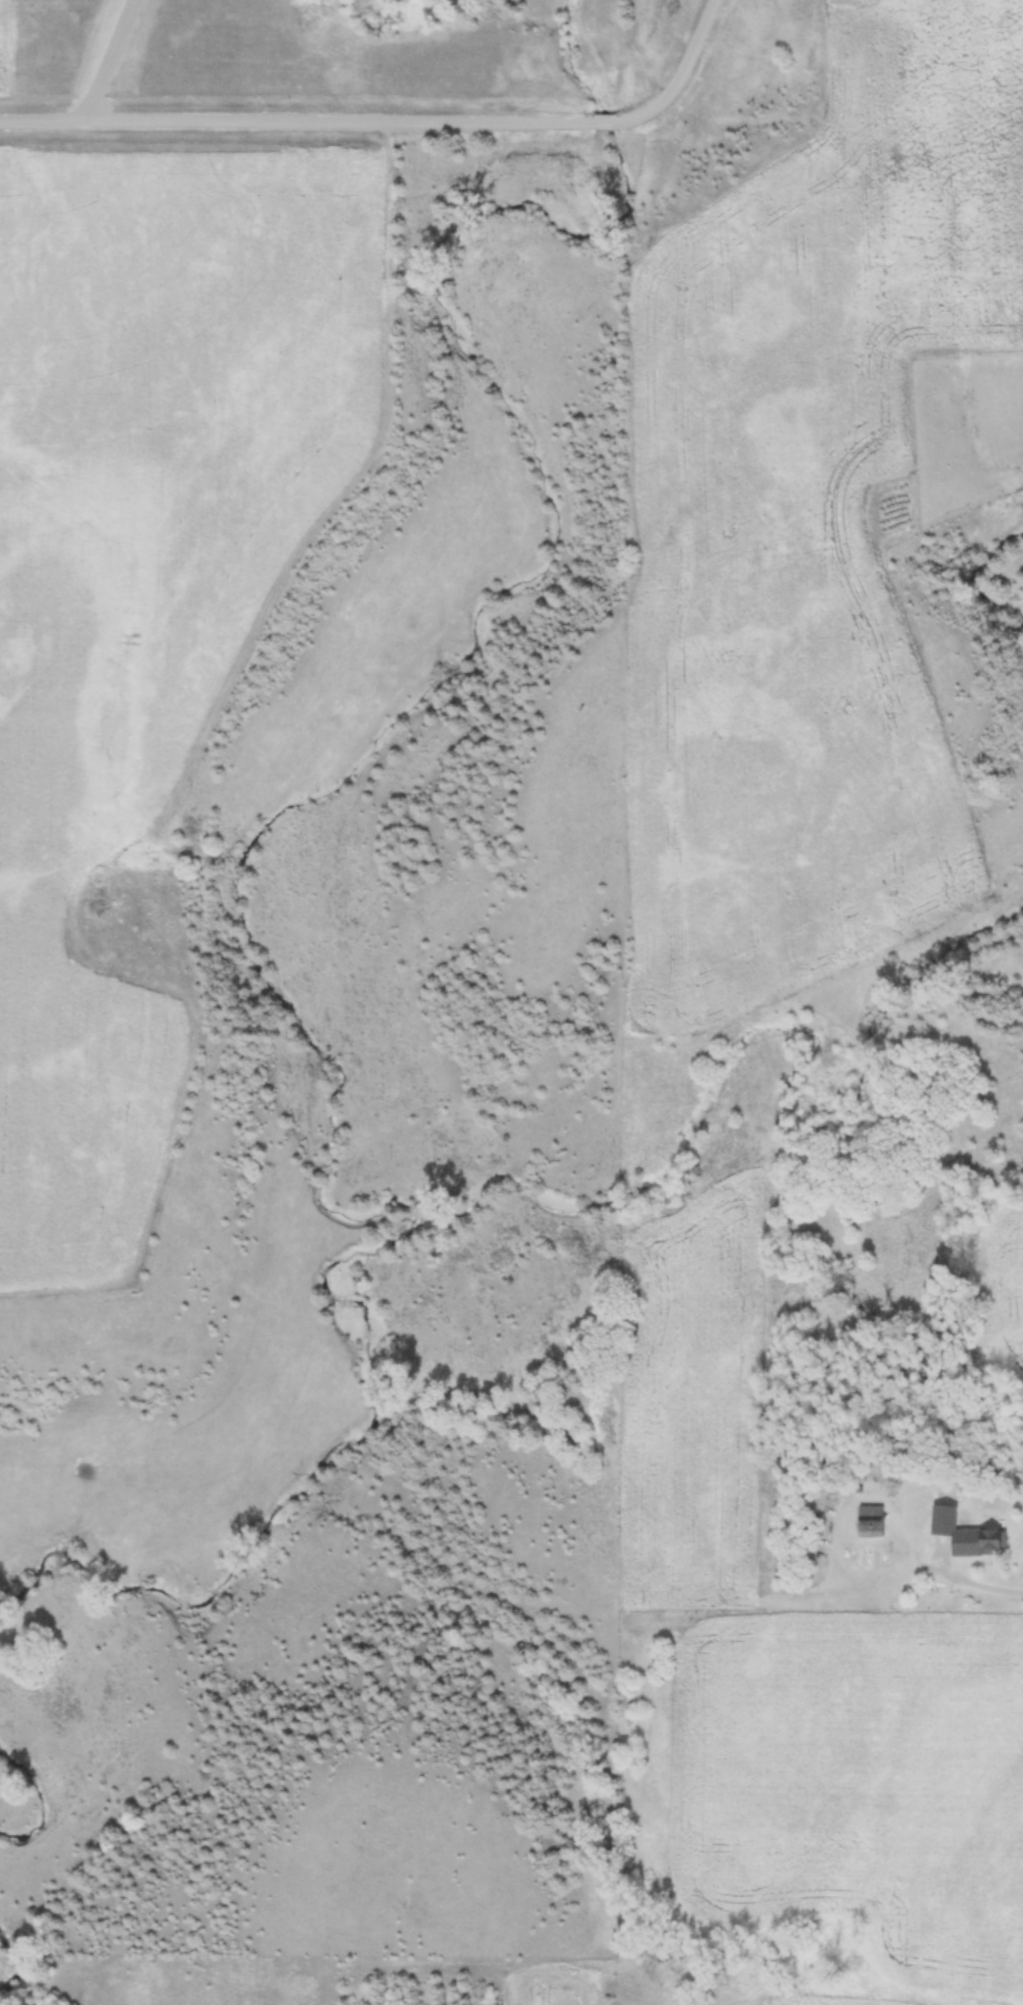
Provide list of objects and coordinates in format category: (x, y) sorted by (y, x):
road: (393, 123)
building: (870, 1521)
building: (991, 1541)

